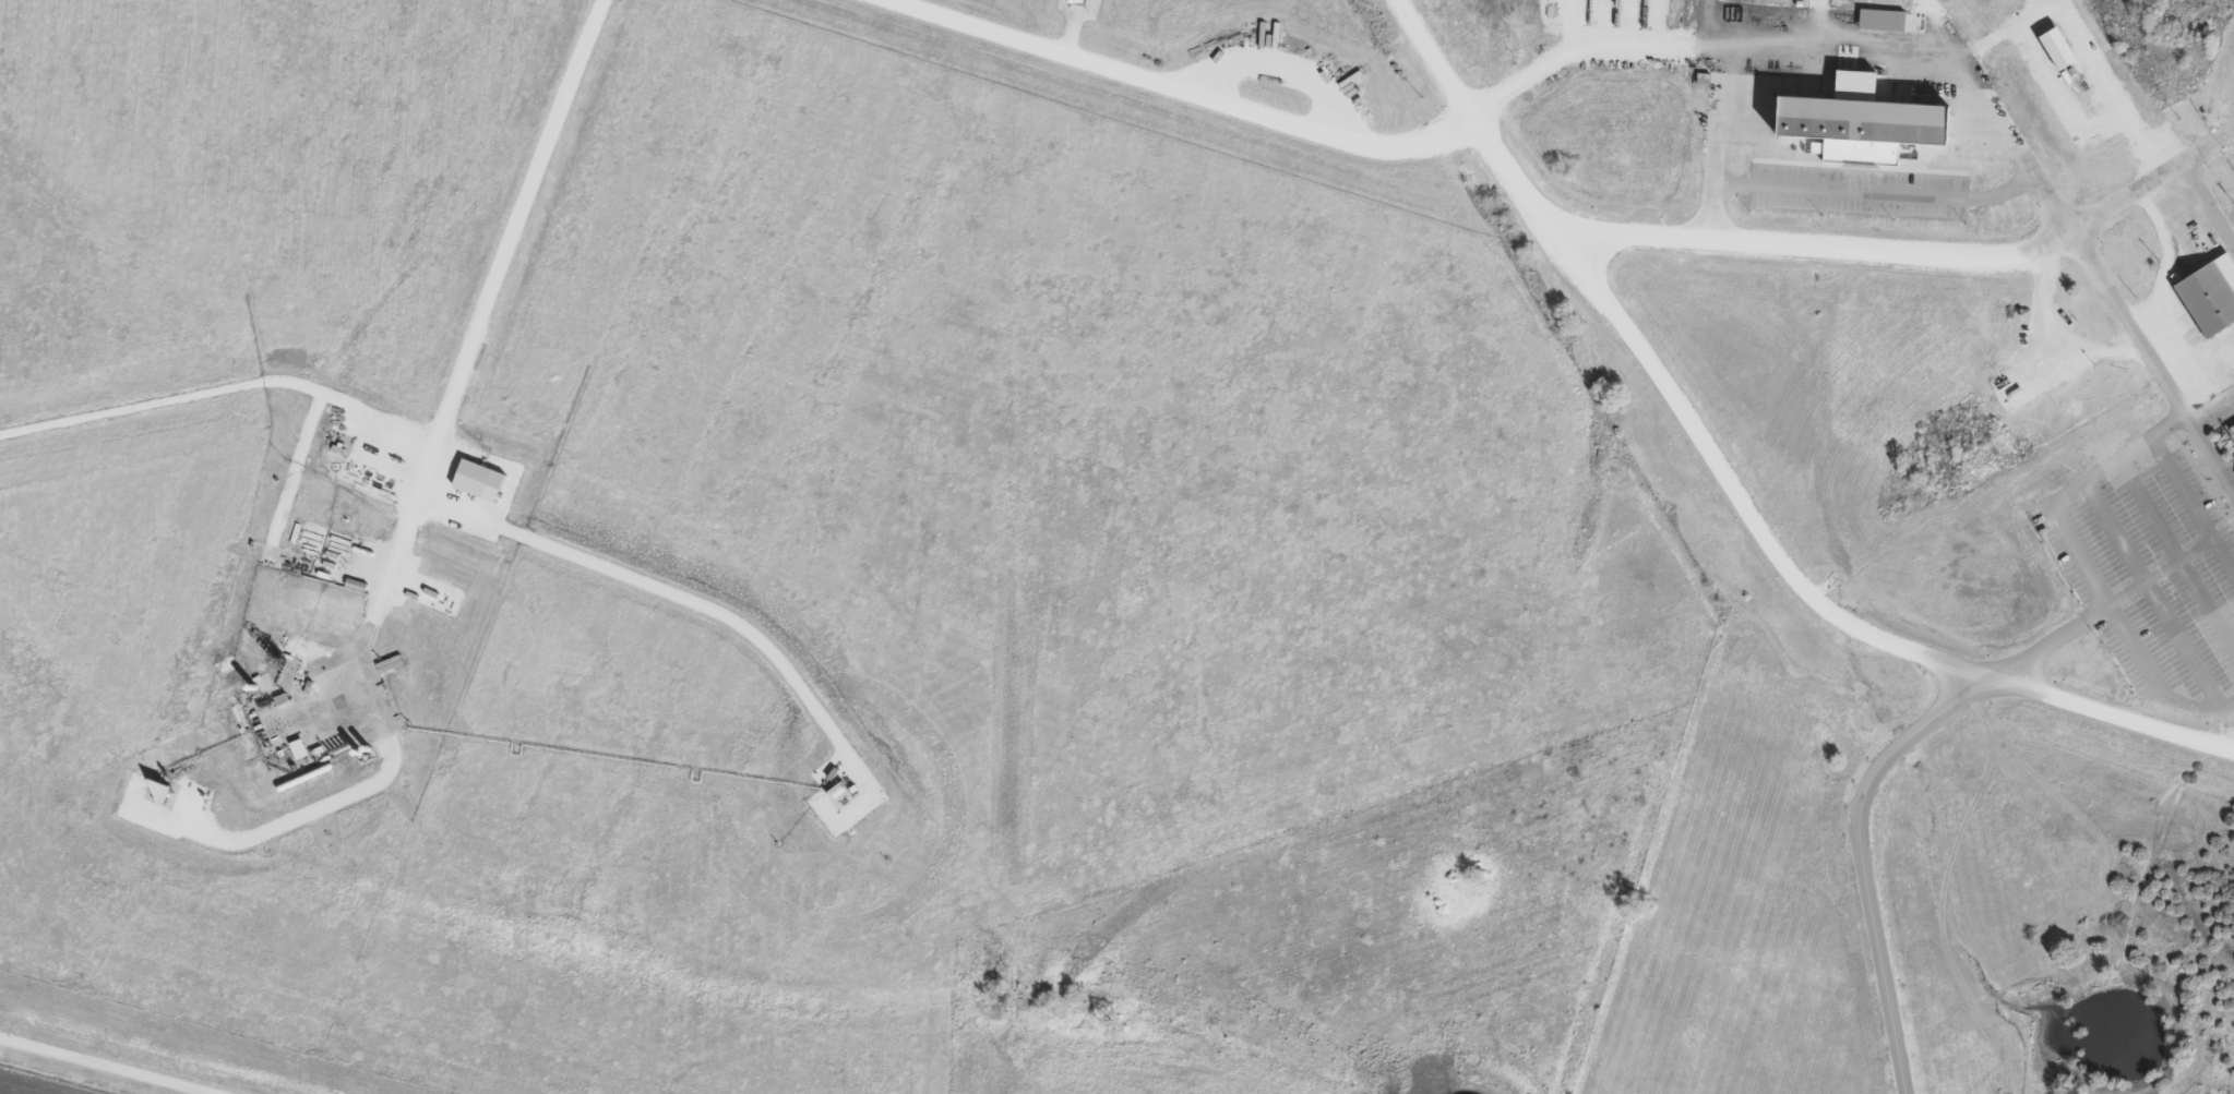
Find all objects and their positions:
road: (1704, 23)
road: (1935, 28)
road: (2003, 31)
building: (2054, 41)
road: (1804, 50)
road: (1282, 68)
road: (2108, 85)
road: (1179, 92)
railway: (2155, 123)
building: (1861, 129)
road: (1712, 144)
parking lot: (1856, 190)
road: (1875, 191)
road: (2208, 202)
road: (1811, 247)
road: (2101, 277)
building: (2207, 299)
road: (2063, 332)
road: (464, 350)
road: (219, 388)
building: (2009, 389)
road: (2212, 407)
building: (2056, 435)
parking lot: (2232, 459)
road: (292, 473)
building: (475, 476)
road: (2178, 483)
road: (1730, 484)
road: (2145, 505)
road: (2229, 516)
road: (2074, 557)
parking lot: (2148, 568)
road: (2120, 590)
road: (2148, 591)
road: (679, 596)
road: (2205, 602)
building: (282, 663)
building: (255, 686)
storage tank: (255, 686)
building: (367, 748)
storage tank: (367, 748)
building: (359, 752)
storage tank: (359, 752)
building: (307, 776)
storage tank: (307, 776)
road: (322, 806)
road: (1860, 854)
road: (120, 1060)

